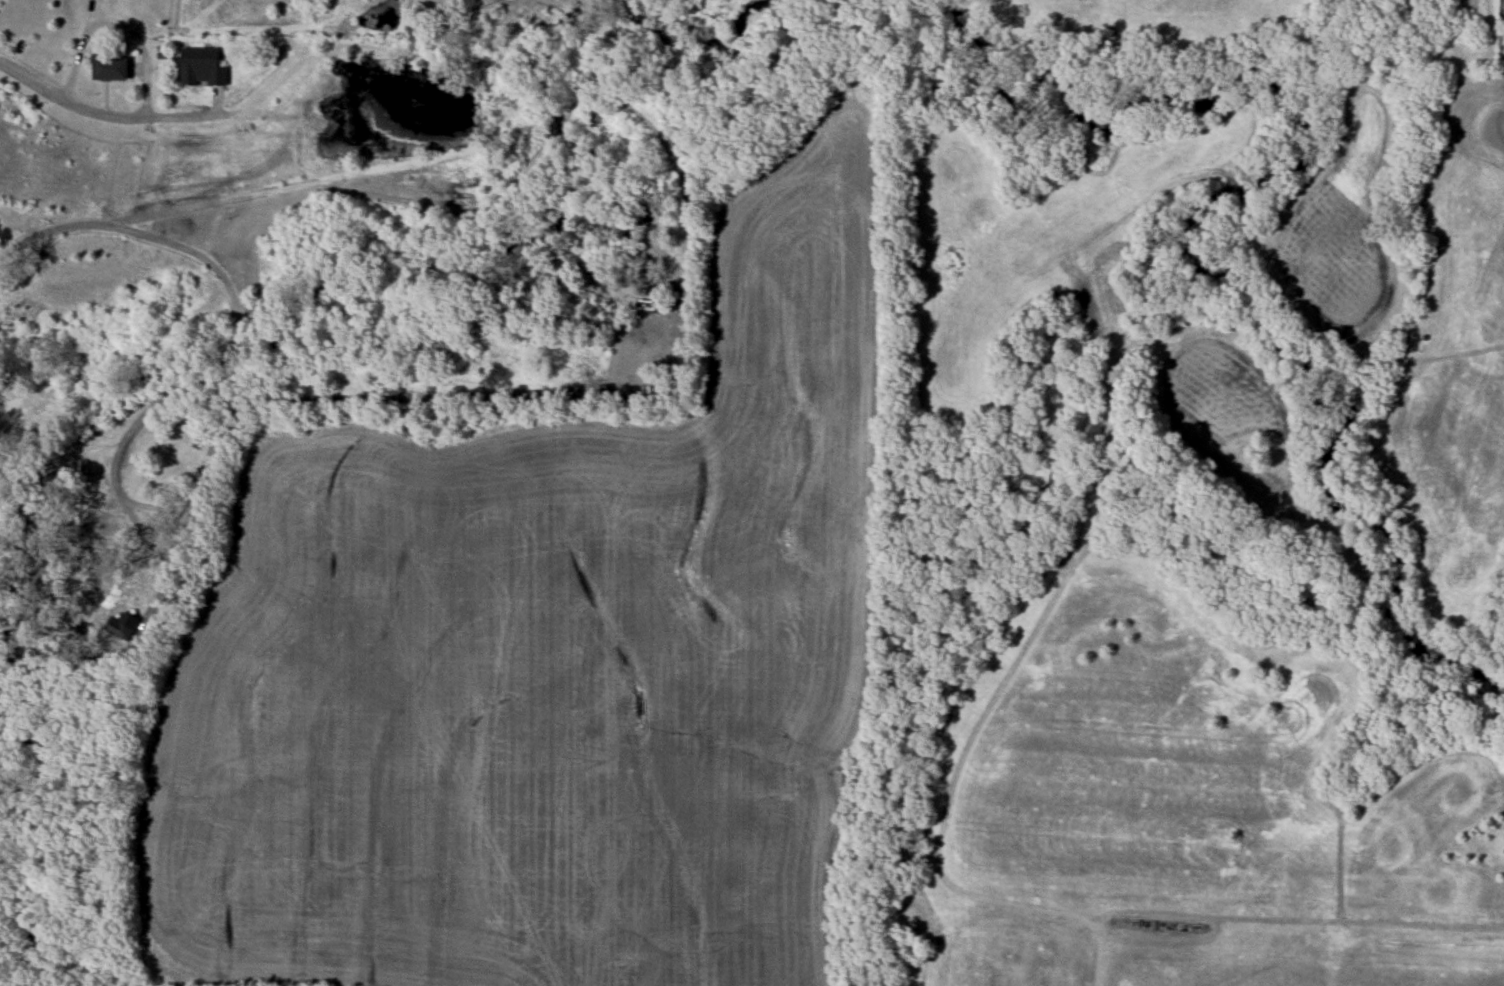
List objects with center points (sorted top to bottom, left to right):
road: (140, 46)
building: (201, 68)
building: (109, 70)
road: (32, 82)
river: (1209, 210)
road: (233, 356)
road: (1, 375)
building: (125, 626)

